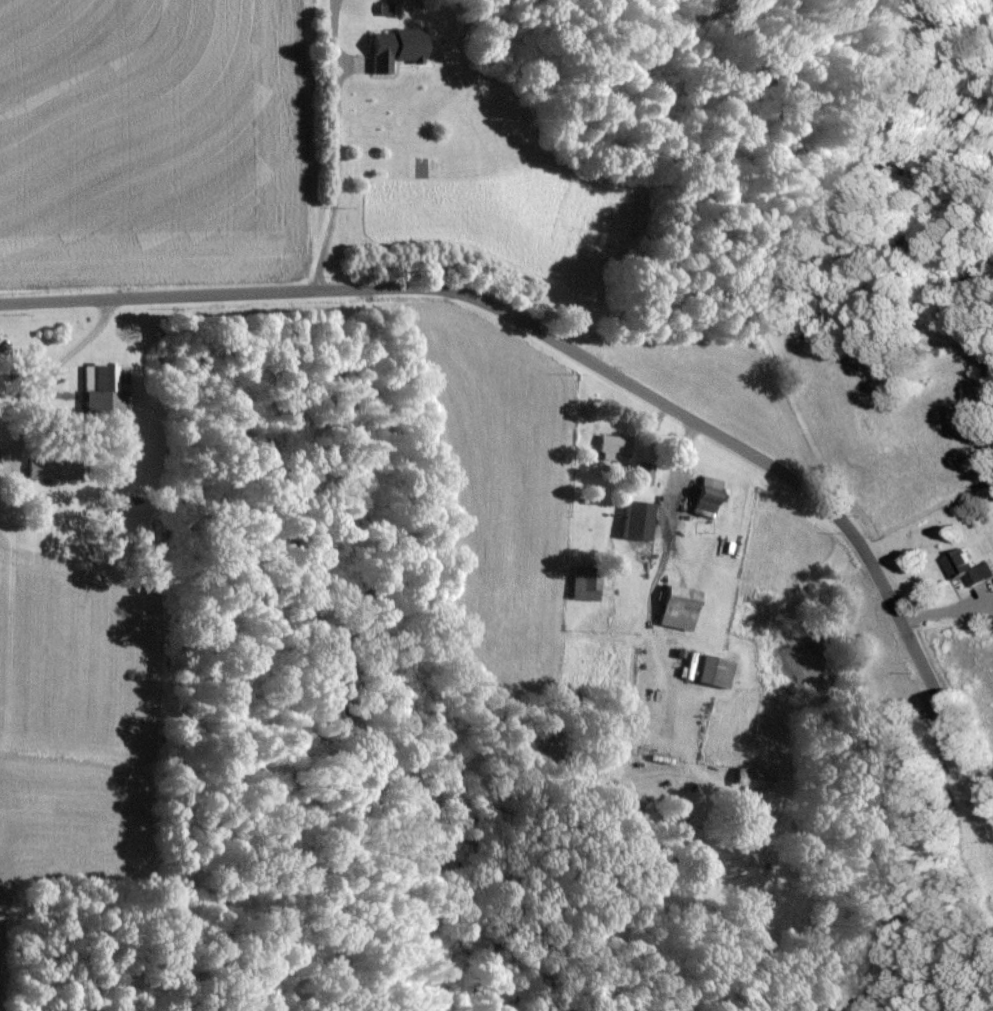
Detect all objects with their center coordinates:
building: (397, 47)
road: (338, 189)
road: (599, 363)
road: (58, 373)
building: (105, 388)
building: (614, 444)
building: (51, 469)
building: (643, 471)
building: (709, 496)
road: (669, 509)
building: (640, 519)
building: (969, 567)
building: (587, 583)
road: (952, 603)
building: (681, 607)
building: (717, 670)
building: (756, 778)

